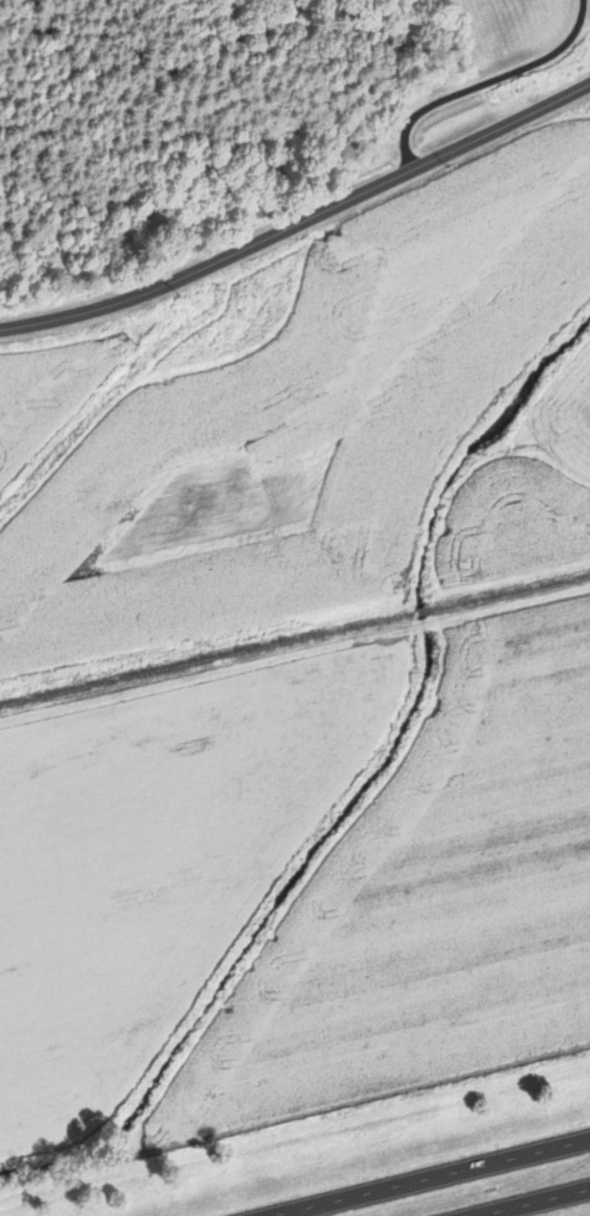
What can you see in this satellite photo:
road: (301, 218)
crop: (53, 378)
crop: (308, 423)
railway: (508, 589)
railway: (420, 610)
road: (294, 651)
railway: (205, 659)
crop: (429, 901)
road: (427, 1176)
road: (531, 1202)

